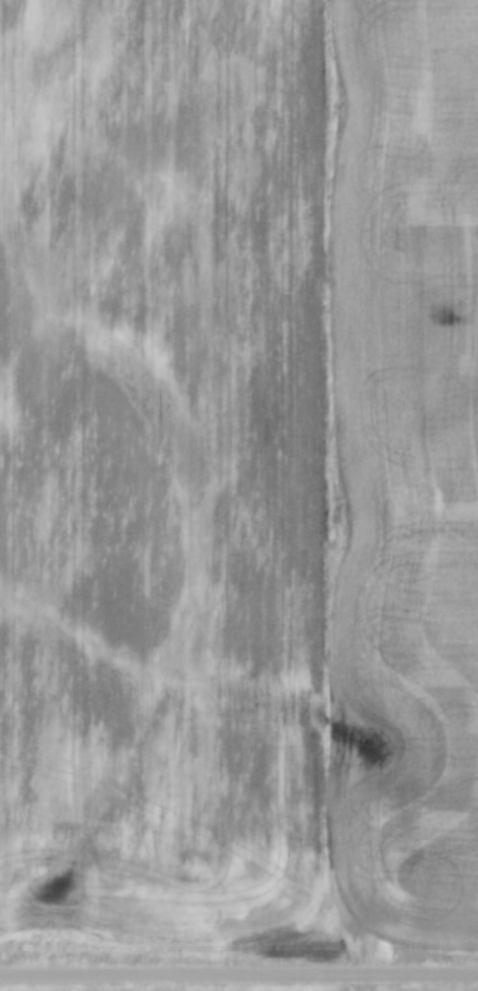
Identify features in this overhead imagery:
road: (239, 974)

